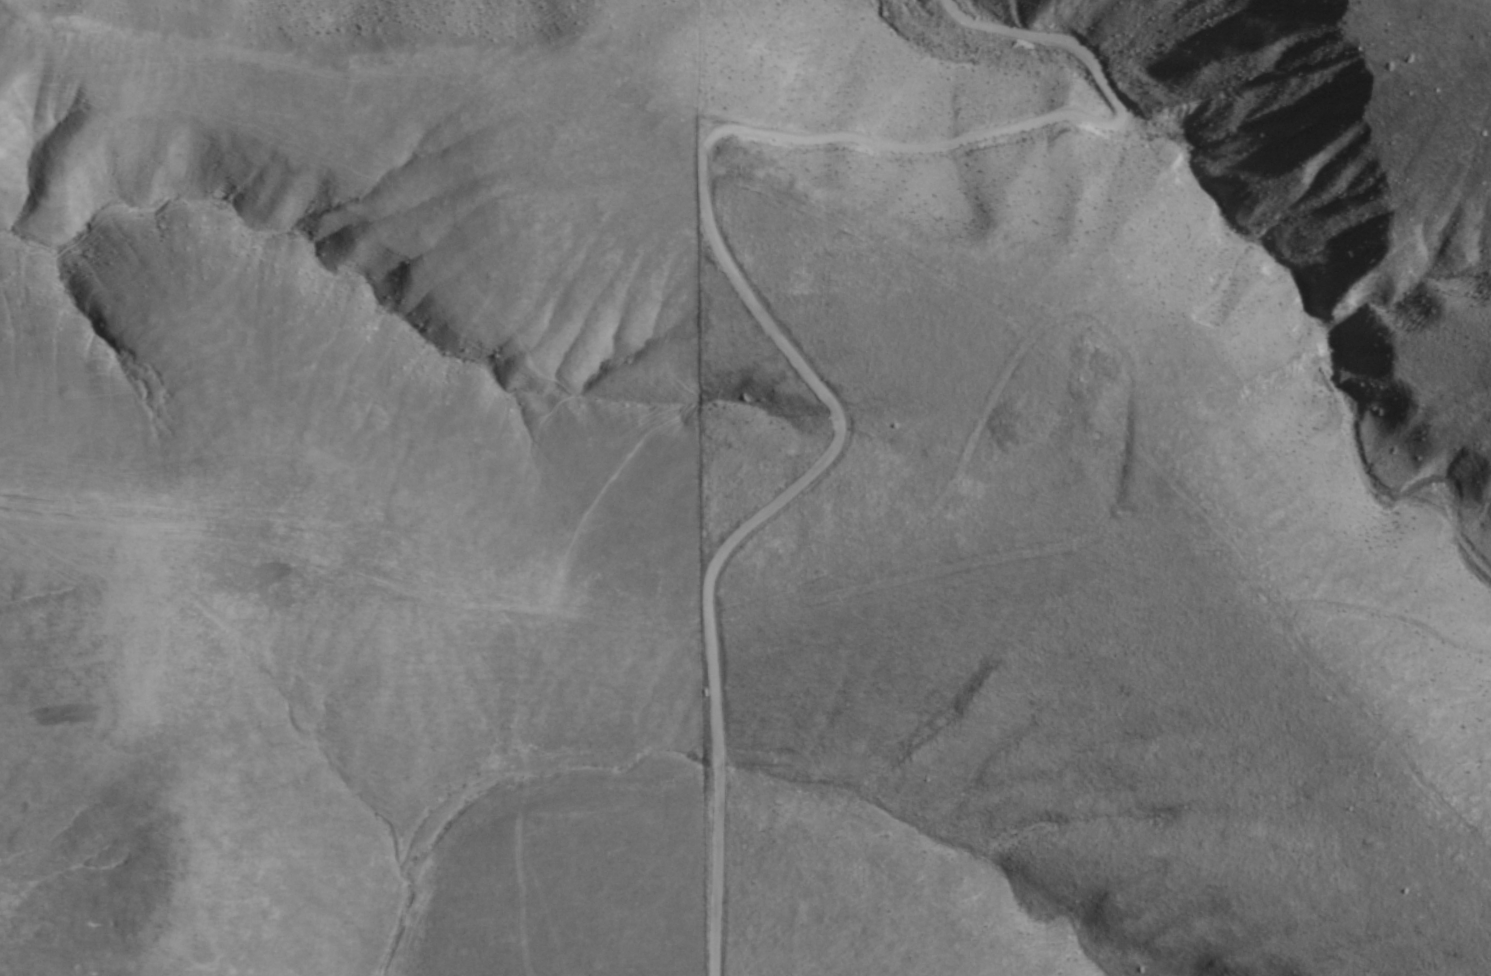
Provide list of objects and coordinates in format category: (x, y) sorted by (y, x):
road: (742, 290)
railway: (332, 713)
railway: (327, 728)
railway: (778, 917)
railway: (757, 923)

